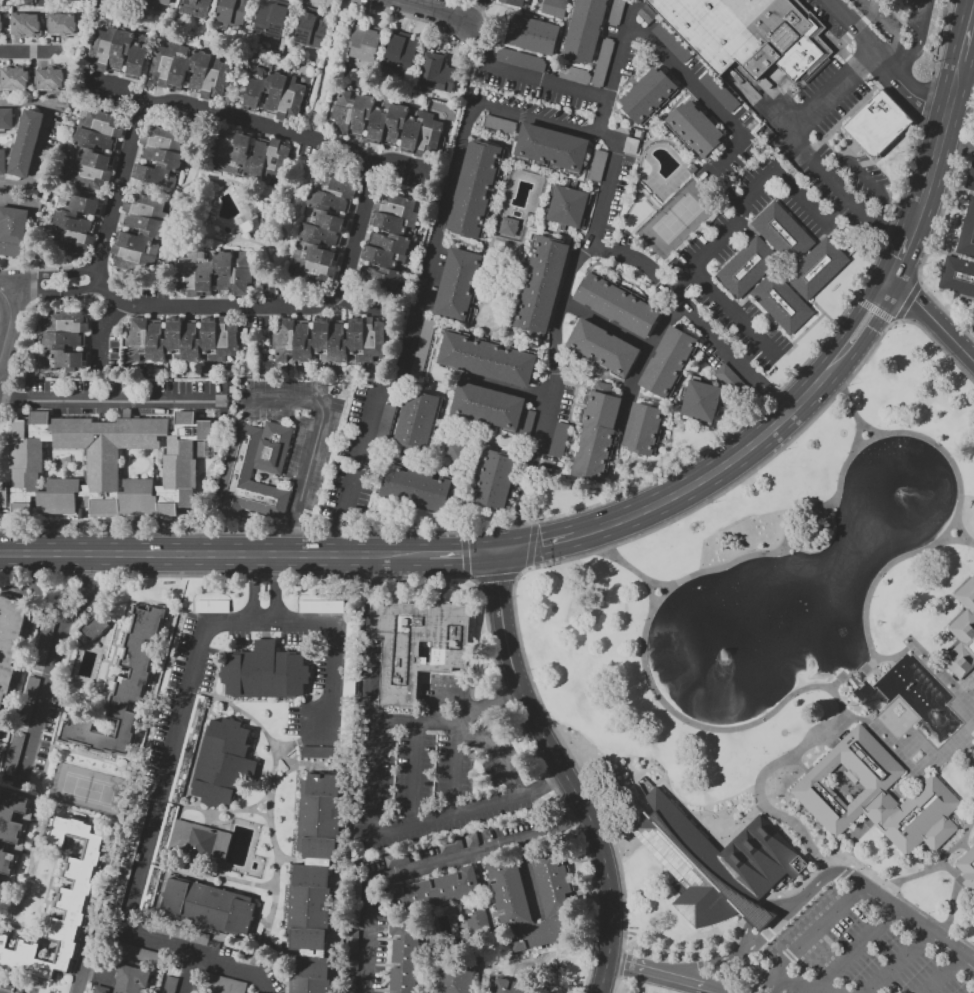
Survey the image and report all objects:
building: (564, 0)
building: (163, 1)
building: (28, 2)
building: (41, 2)
building: (513, 3)
road: (864, 7)
building: (196, 8)
road: (452, 8)
road: (470, 10)
road: (430, 11)
building: (232, 12)
building: (647, 13)
parking lot: (851, 16)
road: (973, 16)
building: (271, 19)
building: (63, 25)
building: (1, 26)
building: (25, 26)
road: (849, 26)
building: (310, 30)
building: (584, 30)
building: (748, 34)
building: (532, 35)
road: (967, 36)
building: (670, 42)
road: (893, 43)
road: (919, 43)
building: (364, 44)
road: (478, 44)
building: (400, 51)
building: (119, 52)
road: (32, 54)
building: (519, 59)
building: (190, 70)
building: (437, 73)
parking lot: (629, 76)
building: (13, 78)
building: (49, 78)
road: (552, 81)
parking lot: (690, 87)
road: (876, 87)
building: (718, 91)
building: (274, 94)
building: (647, 95)
road: (950, 99)
parking lot: (546, 103)
road: (234, 115)
road: (468, 115)
road: (806, 115)
building: (6, 119)
building: (386, 123)
building: (499, 124)
building: (877, 126)
building: (695, 128)
parking lot: (743, 132)
road: (41, 135)
building: (26, 144)
road: (957, 144)
building: (94, 148)
building: (551, 148)
building: (249, 152)
building: (161, 155)
building: (2, 162)
building: (598, 165)
parking lot: (730, 175)
road: (927, 188)
building: (475, 189)
road: (17, 201)
building: (328, 201)
parking lot: (623, 204)
building: (397, 206)
building: (567, 206)
road: (811, 207)
park: (675, 217)
building: (322, 219)
building: (392, 223)
building: (73, 224)
building: (508, 226)
building: (12, 230)
building: (140, 232)
building: (782, 233)
building: (318, 235)
road: (725, 235)
building: (388, 241)
building: (962, 252)
building: (388, 258)
road: (903, 259)
building: (311, 261)
building: (745, 269)
building: (816, 269)
building: (214, 273)
road: (52, 274)
building: (379, 276)
building: (540, 284)
building: (458, 285)
road: (55, 290)
building: (781, 302)
building: (616, 305)
road: (217, 309)
road: (735, 313)
road: (690, 317)
road: (934, 319)
road: (12, 325)
road: (604, 327)
parking lot: (704, 329)
building: (65, 338)
building: (182, 338)
building: (329, 339)
building: (421, 347)
road: (556, 348)
building: (602, 348)
road: (750, 352)
building: (486, 359)
road: (641, 361)
building: (667, 361)
road: (0, 363)
building: (726, 375)
road: (684, 386)
road: (509, 388)
road: (106, 400)
building: (700, 401)
parking lot: (570, 405)
road: (852, 405)
building: (488, 406)
road: (571, 413)
building: (417, 420)
road: (671, 422)
building: (525, 423)
road: (869, 427)
building: (642, 429)
building: (597, 437)
road: (758, 437)
building: (560, 440)
road: (312, 444)
building: (454, 450)
road: (618, 452)
building: (103, 465)
building: (237, 471)
building: (494, 480)
road: (612, 480)
building: (416, 488)
parking lot: (533, 492)
fountain: (902, 495)
parking lot: (341, 508)
road: (963, 532)
road: (787, 533)
road: (954, 540)
traffic signals: (542, 544)
road: (535, 545)
road: (461, 553)
traffic signals: (462, 553)
road: (213, 557)
road: (541, 565)
road: (648, 580)
traffic signals: (497, 582)
road: (251, 589)
road: (276, 589)
park: (768, 593)
building: (213, 606)
building: (322, 606)
building: (964, 616)
road: (264, 623)
building: (94, 628)
building: (11, 641)
building: (416, 645)
road: (923, 650)
fountain: (721, 651)
road: (330, 658)
road: (51, 660)
building: (270, 671)
building: (347, 680)
building: (124, 691)
fountain: (935, 713)
building: (973, 725)
building: (972, 729)
building: (973, 733)
road: (295, 740)
road: (377, 742)
building: (188, 749)
road: (967, 750)
building: (317, 752)
building: (14, 754)
road: (286, 761)
road: (919, 763)
building: (222, 764)
road: (301, 768)
parking lot: (435, 769)
road: (770, 769)
road: (455, 771)
road: (563, 772)
road: (415, 775)
road: (544, 788)
park: (86, 789)
building: (873, 795)
road: (266, 811)
road: (217, 814)
road: (261, 814)
building: (10, 826)
building: (165, 833)
road: (150, 834)
building: (197, 841)
building: (128, 856)
building: (395, 859)
building: (712, 859)
road: (837, 860)
road: (937, 863)
road: (430, 868)
building: (966, 868)
road: (209, 872)
road: (530, 881)
building: (314, 883)
building: (151, 887)
building: (2, 891)
building: (557, 892)
road: (957, 896)
building: (61, 904)
building: (209, 905)
building: (751, 916)
building: (476, 921)
road: (821, 924)
road: (919, 925)
building: (179, 932)
road: (764, 932)
road: (744, 934)
road: (730, 938)
parking lot: (868, 945)
road: (855, 947)
road: (87, 950)
building: (141, 954)
building: (403, 954)
road: (896, 962)
fountain: (560, 966)
road: (187, 973)
road: (943, 974)
building: (455, 977)
road: (659, 978)
road: (773, 978)
building: (130, 980)
building: (221, 984)
building: (170, 985)
road: (801, 985)
building: (510, 987)
building: (100, 989)

